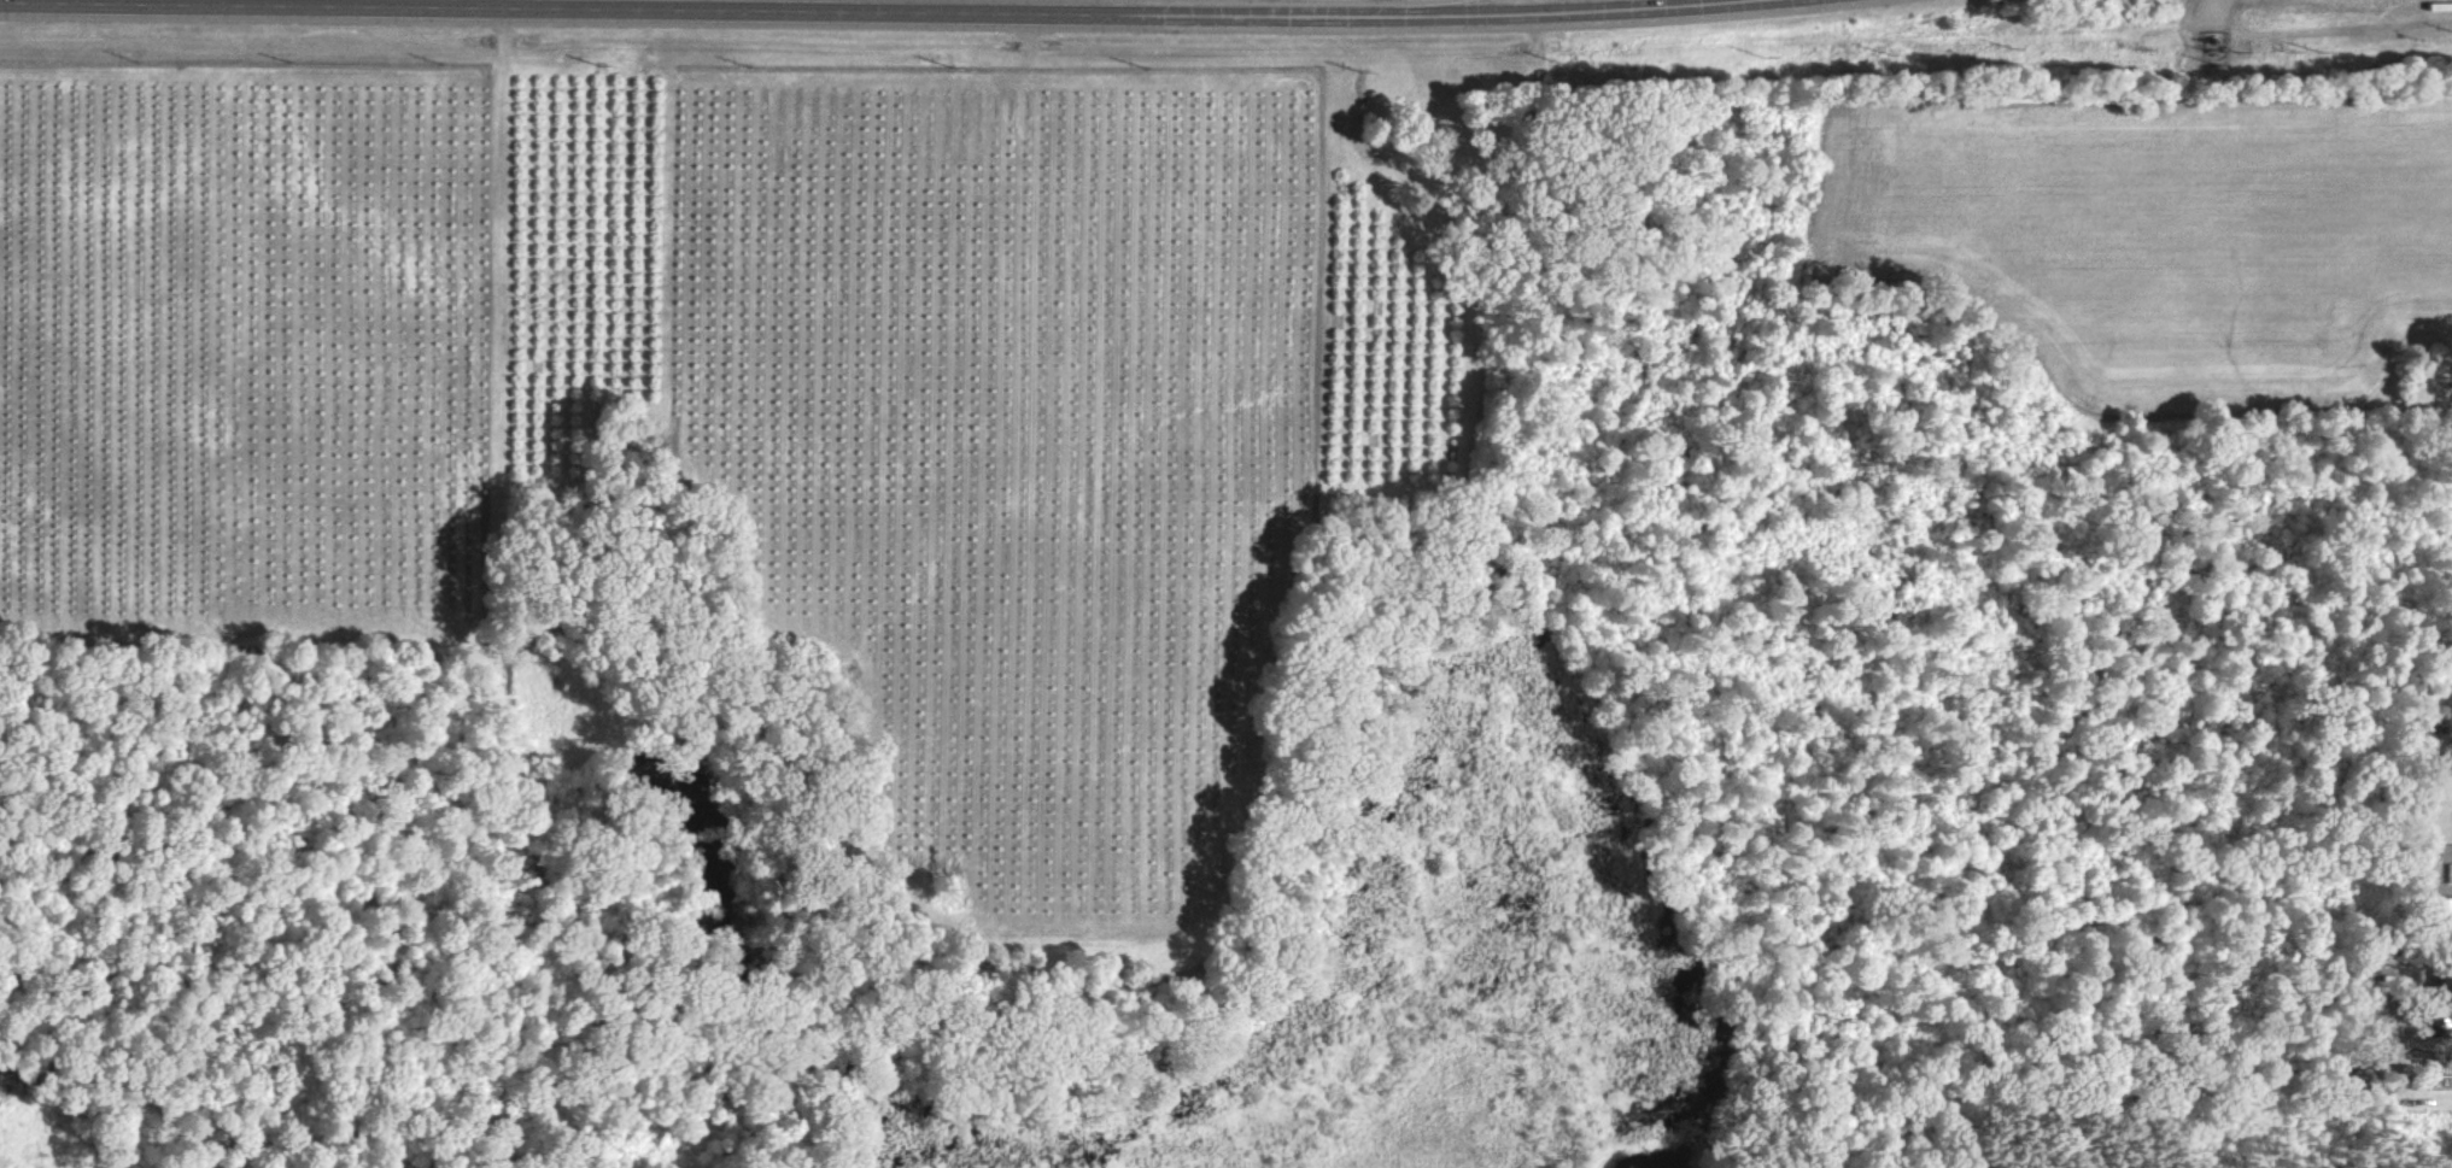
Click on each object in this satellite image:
road: (473, 2)
road: (1538, 5)
road: (862, 10)
building: (2446, 905)

